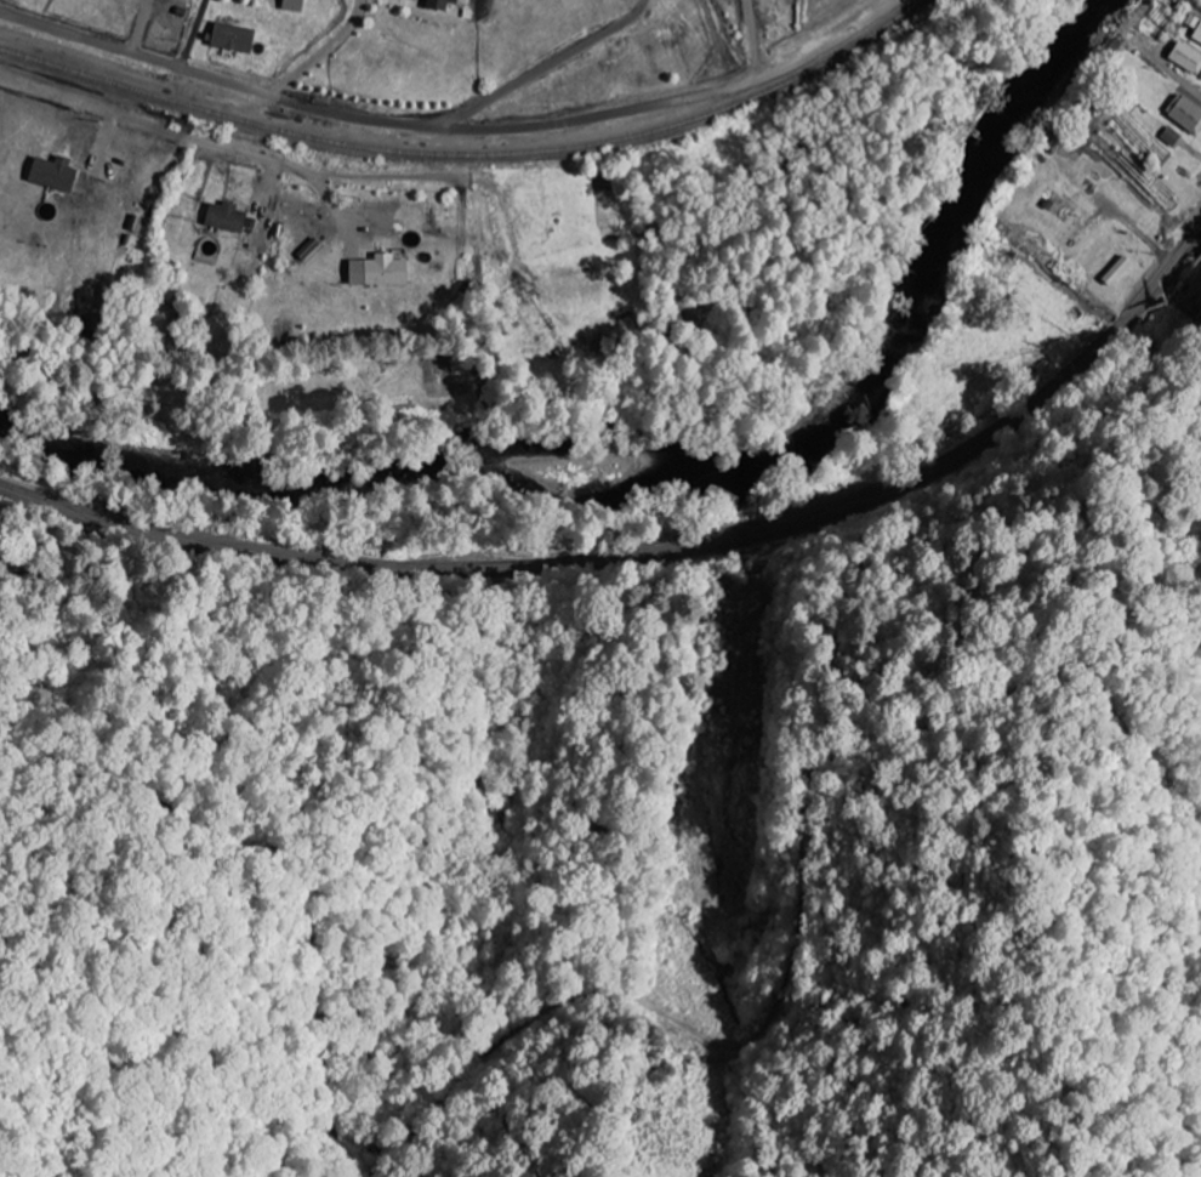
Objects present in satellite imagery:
building: (443, 4)
building: (294, 5)
building: (1196, 25)
building: (234, 38)
building: (1188, 57)
road: (309, 101)
building: (1186, 113)
railway: (467, 154)
building: (57, 175)
building: (229, 218)
building: (1122, 271)
building: (382, 272)
river: (672, 459)
road: (649, 553)

